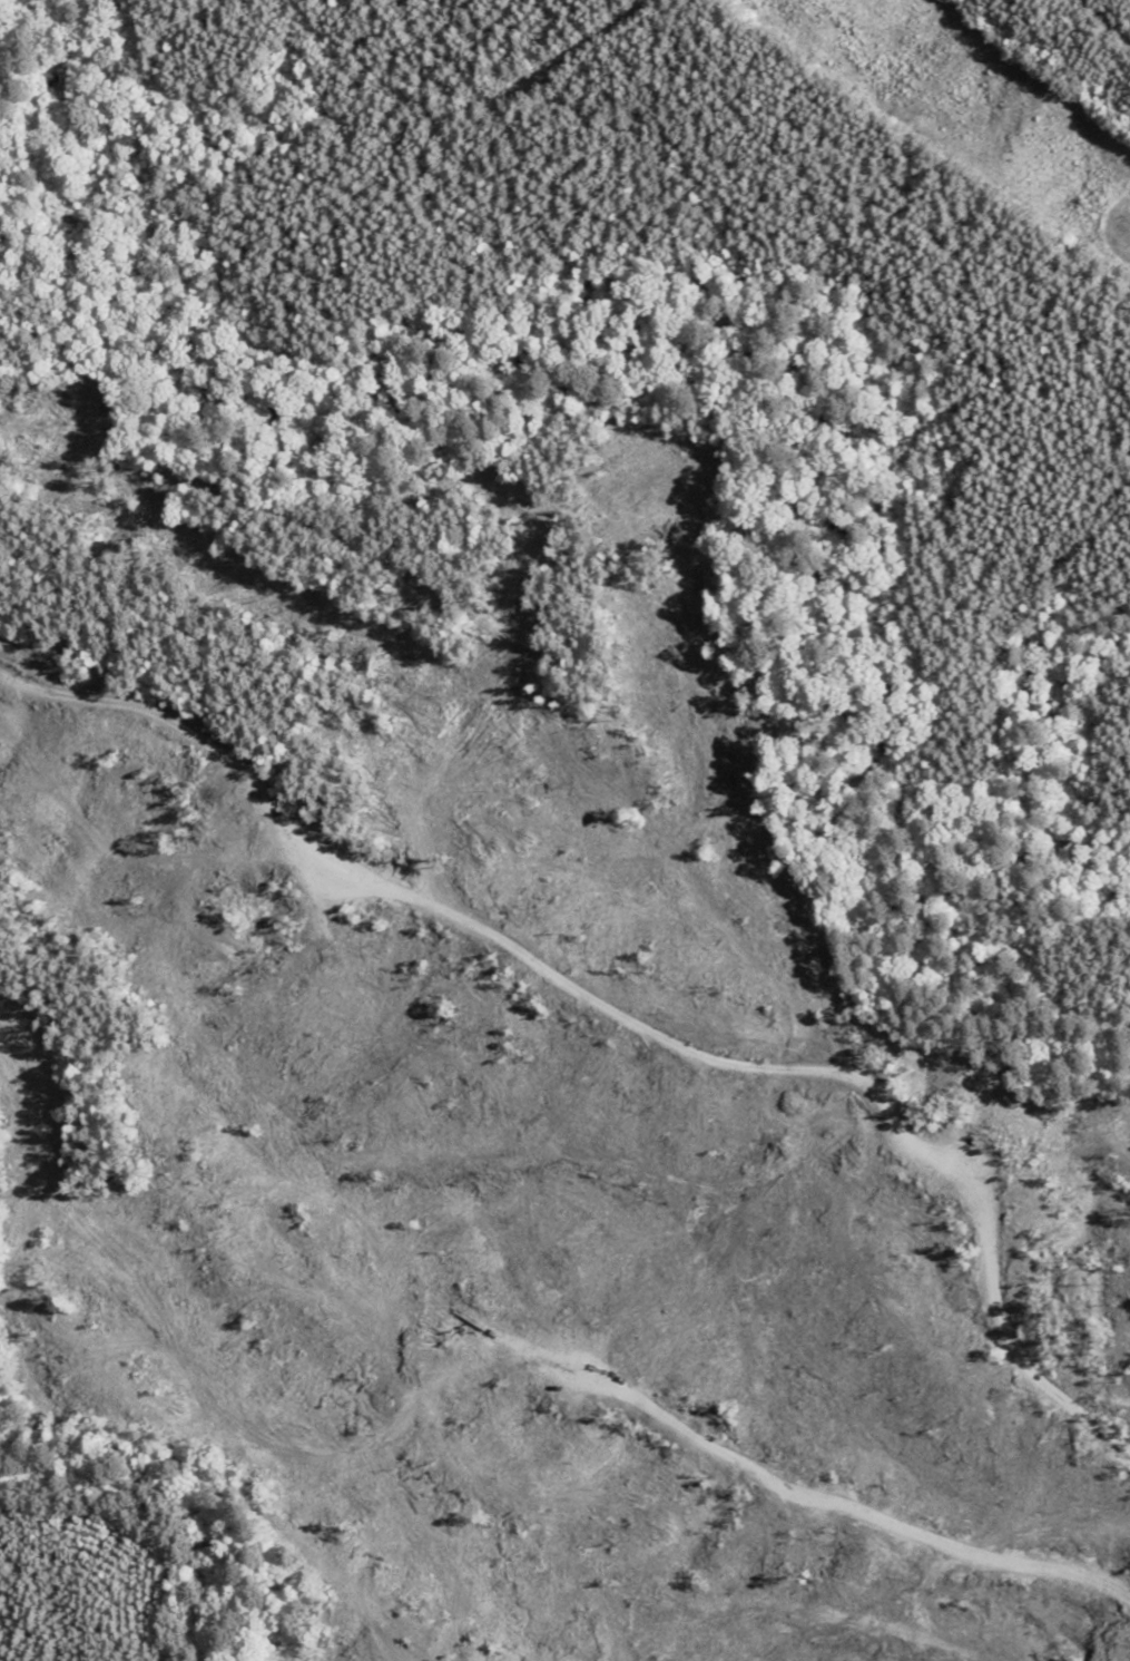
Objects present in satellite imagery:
road: (960, 1290)

